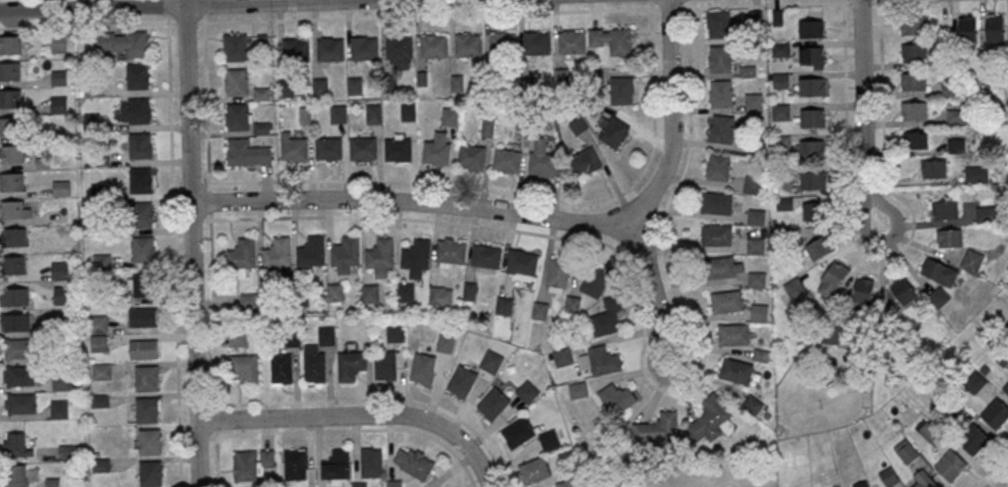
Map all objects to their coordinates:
road: (892, 0)
road: (186, 5)
road: (203, 7)
road: (167, 8)
road: (536, 11)
road: (185, 22)
building: (718, 24)
road: (87, 25)
building: (913, 26)
building: (995, 27)
building: (812, 28)
building: (968, 29)
building: (612, 39)
building: (537, 42)
building: (571, 42)
building: (57, 43)
building: (123, 43)
building: (503, 43)
building: (10, 44)
building: (468, 44)
building: (434, 46)
building: (235, 47)
building: (295, 47)
building: (398, 47)
building: (364, 48)
building: (780, 49)
building: (330, 50)
building: (913, 52)
building: (812, 57)
building: (720, 58)
building: (9, 71)
building: (138, 76)
building: (561, 76)
building: (58, 77)
building: (780, 80)
building: (236, 81)
building: (913, 81)
building: (355, 85)
building: (812, 86)
building: (286, 87)
building: (321, 87)
building: (621, 90)
building: (720, 93)
building: (9, 98)
building: (753, 101)
building: (59, 105)
building: (135, 110)
building: (913, 110)
building: (408, 111)
building: (780, 111)
building: (339, 113)
building: (373, 113)
road: (862, 113)
building: (237, 116)
building: (450, 116)
building: (813, 117)
building: (955, 117)
building: (10, 126)
building: (260, 127)
building: (721, 128)
building: (611, 131)
building: (919, 139)
building: (140, 145)
building: (294, 147)
building: (329, 148)
building: (363, 148)
building: (398, 148)
building: (811, 148)
building: (437, 149)
building: (247, 152)
building: (11, 153)
building: (472, 156)
building: (543, 159)
building: (507, 160)
building: (585, 161)
building: (718, 166)
building: (934, 168)
building: (976, 173)
building: (141, 179)
building: (813, 179)
building: (11, 181)
building: (753, 185)
building: (61, 188)
building: (716, 203)
building: (12, 209)
building: (945, 209)
building: (813, 211)
building: (987, 213)
building: (142, 214)
road: (523, 214)
road: (409, 217)
building: (716, 235)
building: (13, 236)
building: (950, 237)
road: (191, 243)
building: (756, 246)
building: (820, 247)
building: (143, 249)
road: (209, 250)
road: (174, 251)
building: (311, 251)
building: (451, 251)
building: (277, 252)
building: (241, 254)
building: (346, 254)
building: (486, 256)
building: (381, 257)
building: (416, 257)
building: (972, 260)
building: (15, 265)
building: (522, 265)
building: (724, 266)
building: (60, 270)
building: (939, 271)
building: (558, 275)
building: (757, 279)
building: (832, 279)
building: (595, 281)
building: (139, 283)
road: (654, 284)
building: (795, 288)
building: (903, 290)
building: (405, 291)
building: (864, 291)
building: (335, 292)
building: (63, 295)
building: (440, 295)
building: (14, 296)
building: (726, 301)
building: (573, 304)
building: (504, 305)
building: (540, 310)
building: (759, 313)
building: (143, 316)
building: (608, 317)
building: (16, 321)
building: (98, 323)
building: (395, 332)
building: (734, 334)
building: (830, 335)
building: (292, 337)
building: (237, 338)
building: (446, 342)
building: (98, 343)
building: (18, 348)
building: (144, 349)
building: (317, 356)
building: (603, 360)
building: (491, 361)
building: (351, 365)
building: (385, 365)
building: (245, 368)
building: (281, 368)
building: (422, 368)
building: (736, 370)
building: (101, 371)
building: (18, 375)
building: (146, 377)
building: (61, 381)
building: (462, 381)
building: (975, 382)
building: (1006, 387)
building: (578, 390)
building: (528, 391)
building: (617, 397)
building: (99, 401)
building: (19, 403)
building: (493, 403)
building: (753, 405)
building: (59, 408)
building: (147, 409)
building: (995, 414)
road: (358, 416)
building: (709, 419)
building: (657, 428)
road: (358, 429)
building: (928, 431)
building: (518, 432)
building: (973, 439)
building: (550, 440)
building: (150, 441)
building: (16, 445)
building: (906, 450)
building: (371, 462)
building: (414, 462)
building: (252, 463)
building: (101, 464)
building: (294, 464)
building: (951, 466)
road: (989, 466)
building: (337, 467)
building: (534, 471)
building: (151, 473)
park: (682, 474)
building: (17, 476)
building: (889, 476)
building: (924, 479)
road: (1003, 482)
building: (565, 484)
park: (707, 484)
building: (862, 484)
building: (359, 485)
park: (729, 485)

